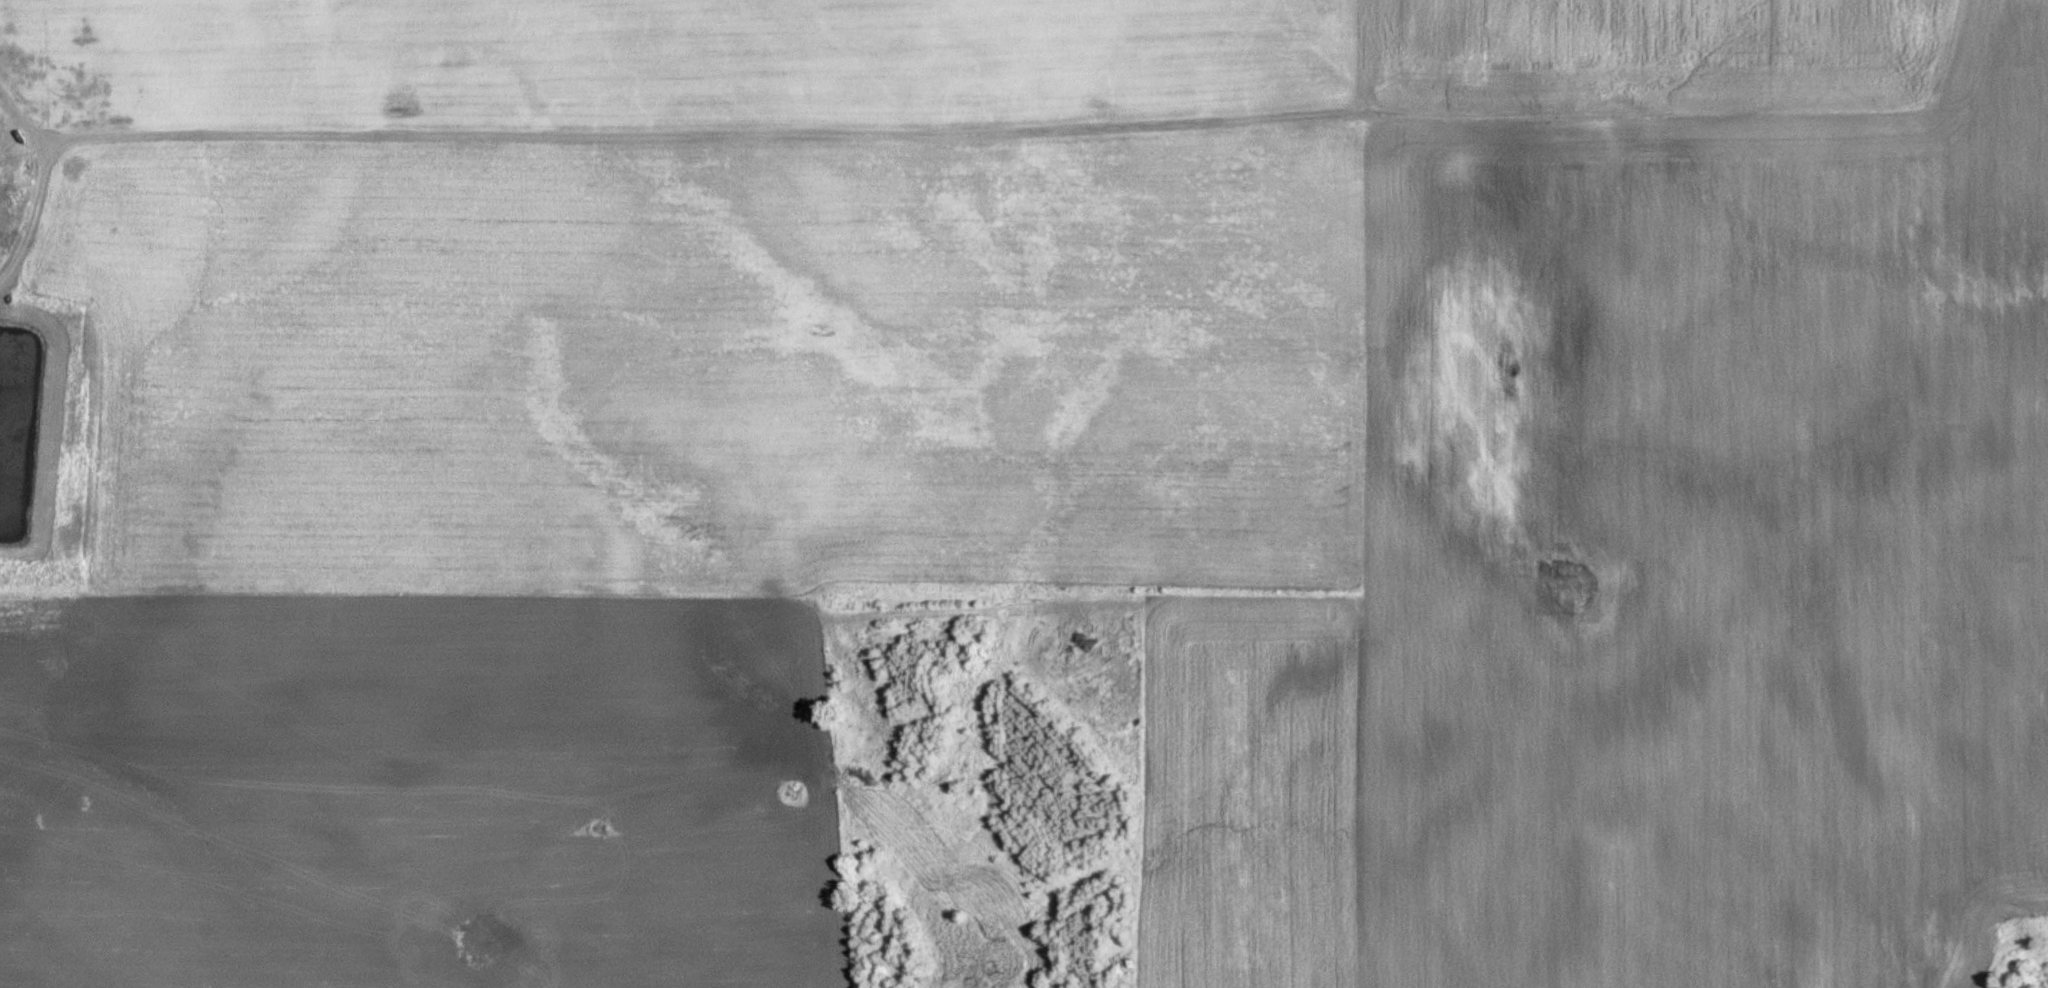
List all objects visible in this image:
road: (997, 156)

